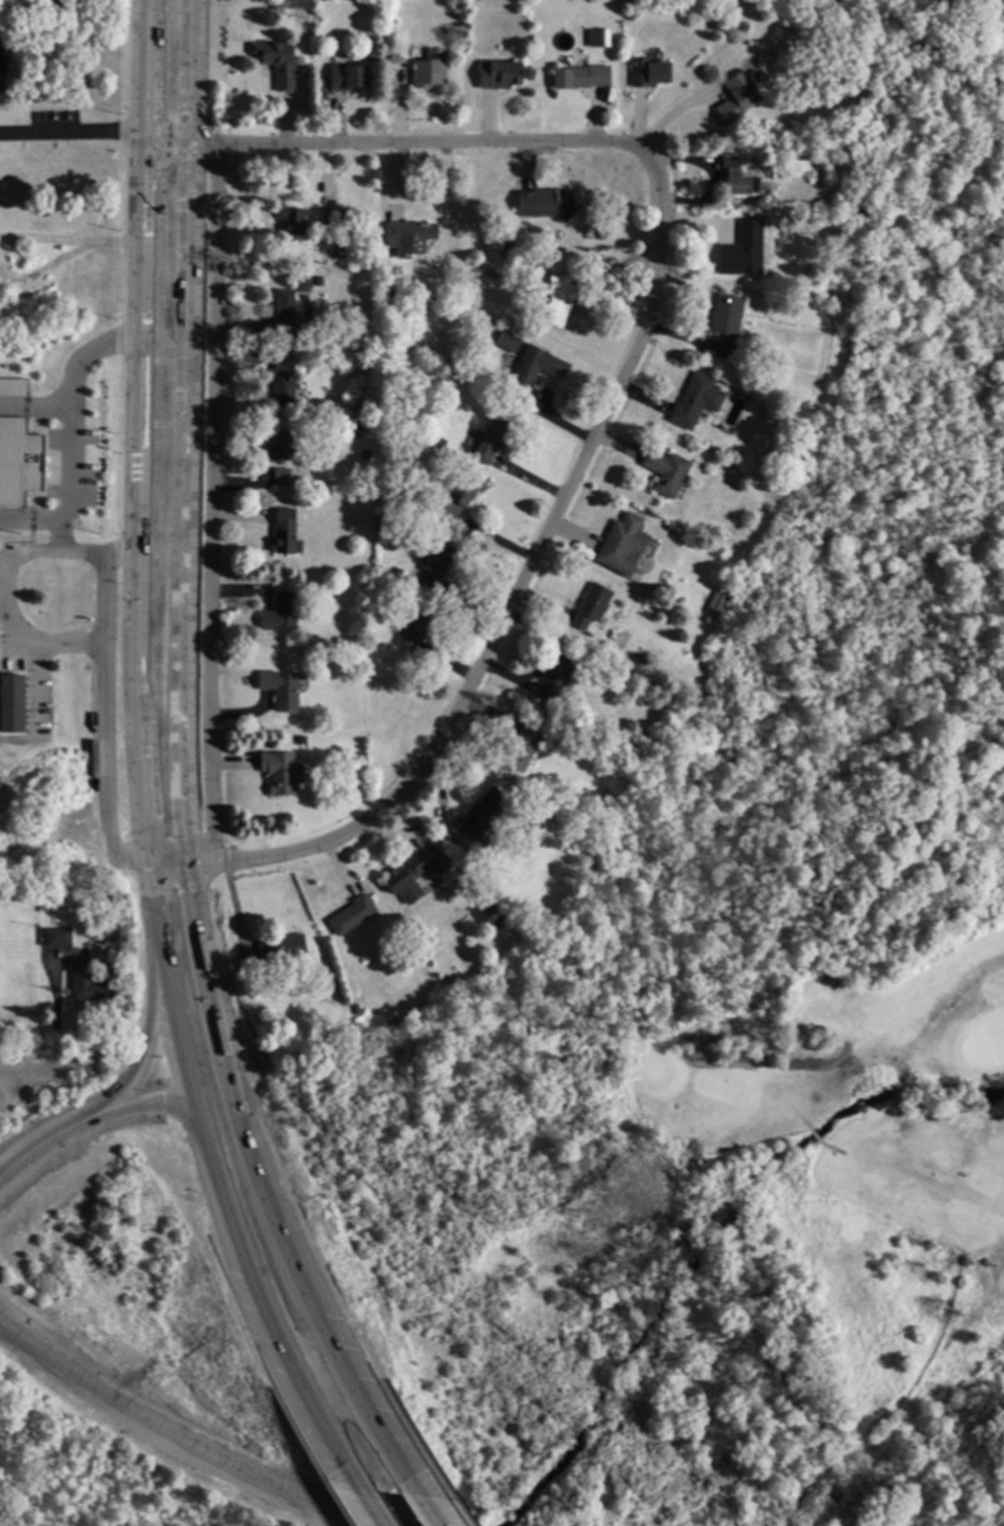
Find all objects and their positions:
building: (285, 4)
building: (48, 6)
building: (1, 15)
building: (715, 25)
building: (602, 37)
building: (392, 58)
building: (276, 62)
building: (1, 65)
building: (428, 69)
building: (647, 72)
building: (497, 74)
building: (579, 76)
building: (345, 77)
building: (735, 97)
building: (757, 124)
road: (70, 135)
road: (404, 142)
building: (736, 177)
building: (546, 202)
building: (761, 203)
building: (330, 217)
building: (290, 221)
building: (409, 232)
road: (44, 240)
road: (116, 244)
building: (505, 244)
building: (741, 246)
building: (336, 254)
road: (47, 268)
building: (317, 280)
building: (287, 300)
building: (557, 300)
building: (725, 323)
building: (322, 329)
building: (506, 342)
building: (527, 369)
building: (281, 383)
building: (12, 390)
building: (694, 400)
road: (134, 429)
road: (181, 429)
building: (351, 432)
building: (491, 437)
building: (278, 445)
road: (70, 447)
building: (17, 464)
building: (665, 471)
building: (279, 476)
building: (381, 484)
building: (451, 500)
road: (210, 501)
building: (283, 532)
building: (622, 544)
building: (436, 564)
building: (396, 572)
road: (501, 607)
building: (590, 608)
building: (713, 609)
building: (278, 612)
road: (9, 614)
building: (414, 628)
building: (336, 641)
building: (379, 646)
building: (638, 658)
building: (324, 659)
building: (555, 676)
building: (279, 689)
building: (10, 702)
road: (106, 716)
building: (558, 737)
building: (521, 746)
building: (278, 771)
building: (540, 795)
building: (482, 811)
park: (800, 869)
building: (414, 874)
building: (487, 910)
building: (350, 914)
building: (59, 936)
building: (281, 948)
building: (87, 983)
building: (271, 985)
building: (354, 1008)
road: (939, 1009)
road: (148, 1018)
road: (39, 1068)
road: (183, 1074)
road: (803, 1076)
road: (10, 1087)
road: (780, 1097)
road: (894, 1097)
road: (145, 1105)
road: (230, 1105)
park: (850, 1116)
road: (805, 1124)
road: (813, 1135)
road: (41, 1142)
road: (829, 1148)
road: (269, 1386)
road: (291, 1386)
road: (392, 1406)
road: (367, 1419)
building: (908, 1427)
road: (158, 1436)
road: (452, 1500)
road: (334, 1501)
road: (358, 1505)
road: (427, 1511)

